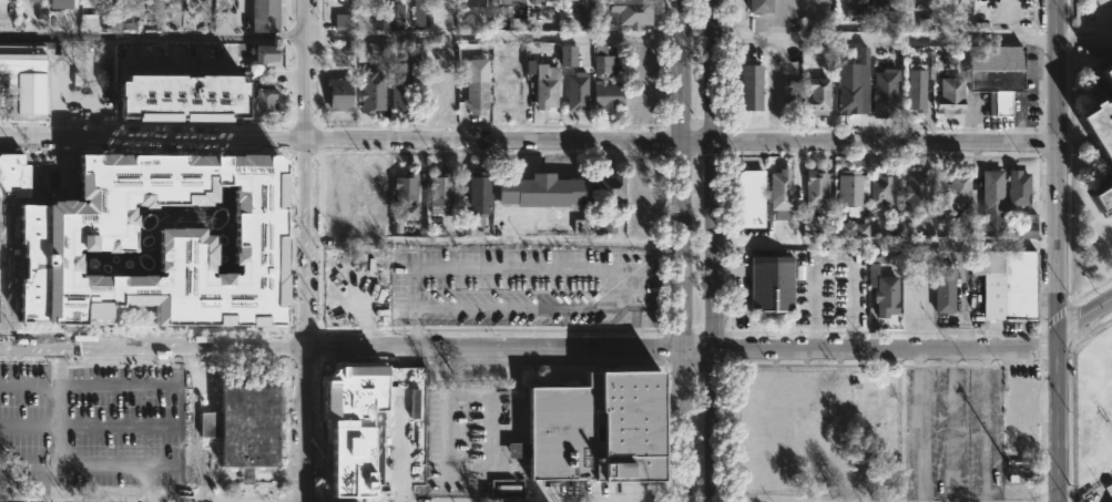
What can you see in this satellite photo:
building: (30, 0)
building: (418, 0)
building: (435, 0)
building: (578, 0)
building: (861, 1)
building: (473, 2)
building: (537, 2)
building: (60, 3)
building: (886, 3)
building: (758, 6)
building: (504, 9)
building: (395, 10)
building: (625, 12)
building: (856, 14)
building: (263, 16)
building: (129, 17)
building: (380, 21)
building: (340, 22)
road: (881, 35)
road: (338, 37)
building: (379, 50)
building: (263, 52)
building: (435, 52)
building: (820, 52)
building: (567, 55)
building: (223, 59)
building: (603, 60)
road: (781, 70)
building: (1108, 71)
building: (997, 74)
building: (405, 80)
building: (920, 80)
building: (24, 81)
building: (544, 86)
building: (132, 88)
building: (507, 88)
building: (749, 88)
building: (197, 89)
building: (440, 89)
building: (370, 92)
building: (575, 92)
building: (886, 92)
building: (338, 93)
building: (849, 93)
building: (817, 94)
building: (96, 95)
building: (162, 96)
building: (606, 96)
building: (950, 96)
building: (476, 98)
building: (234, 99)
building: (263, 100)
building: (65, 101)
building: (1099, 126)
road: (337, 139)
road: (694, 139)
road: (884, 142)
road: (1055, 164)
building: (611, 187)
building: (815, 187)
building: (1018, 187)
building: (851, 188)
building: (879, 188)
building: (959, 188)
building: (781, 189)
building: (543, 191)
building: (991, 191)
building: (439, 193)
building: (478, 193)
building: (337, 195)
building: (915, 195)
building: (375, 196)
building: (407, 197)
building: (1102, 197)
building: (749, 199)
building: (1026, 227)
building: (853, 229)
building: (159, 242)
road: (303, 250)
road: (676, 250)
road: (712, 250)
road: (835, 259)
road: (523, 266)
road: (727, 270)
building: (338, 278)
building: (1007, 283)
building: (771, 284)
building: (884, 286)
parking lot: (522, 289)
building: (945, 289)
road: (727, 311)
road: (1084, 311)
road: (338, 347)
road: (884, 348)
road: (694, 350)
road: (112, 385)
road: (28, 386)
road: (1058, 414)
parking lot: (64, 423)
building: (245, 423)
road: (90, 427)
building: (594, 430)
building: (363, 458)
road: (58, 460)
road: (29, 465)
road: (146, 483)
building: (506, 489)
road: (152, 500)
road: (129, 501)
road: (307, 501)

